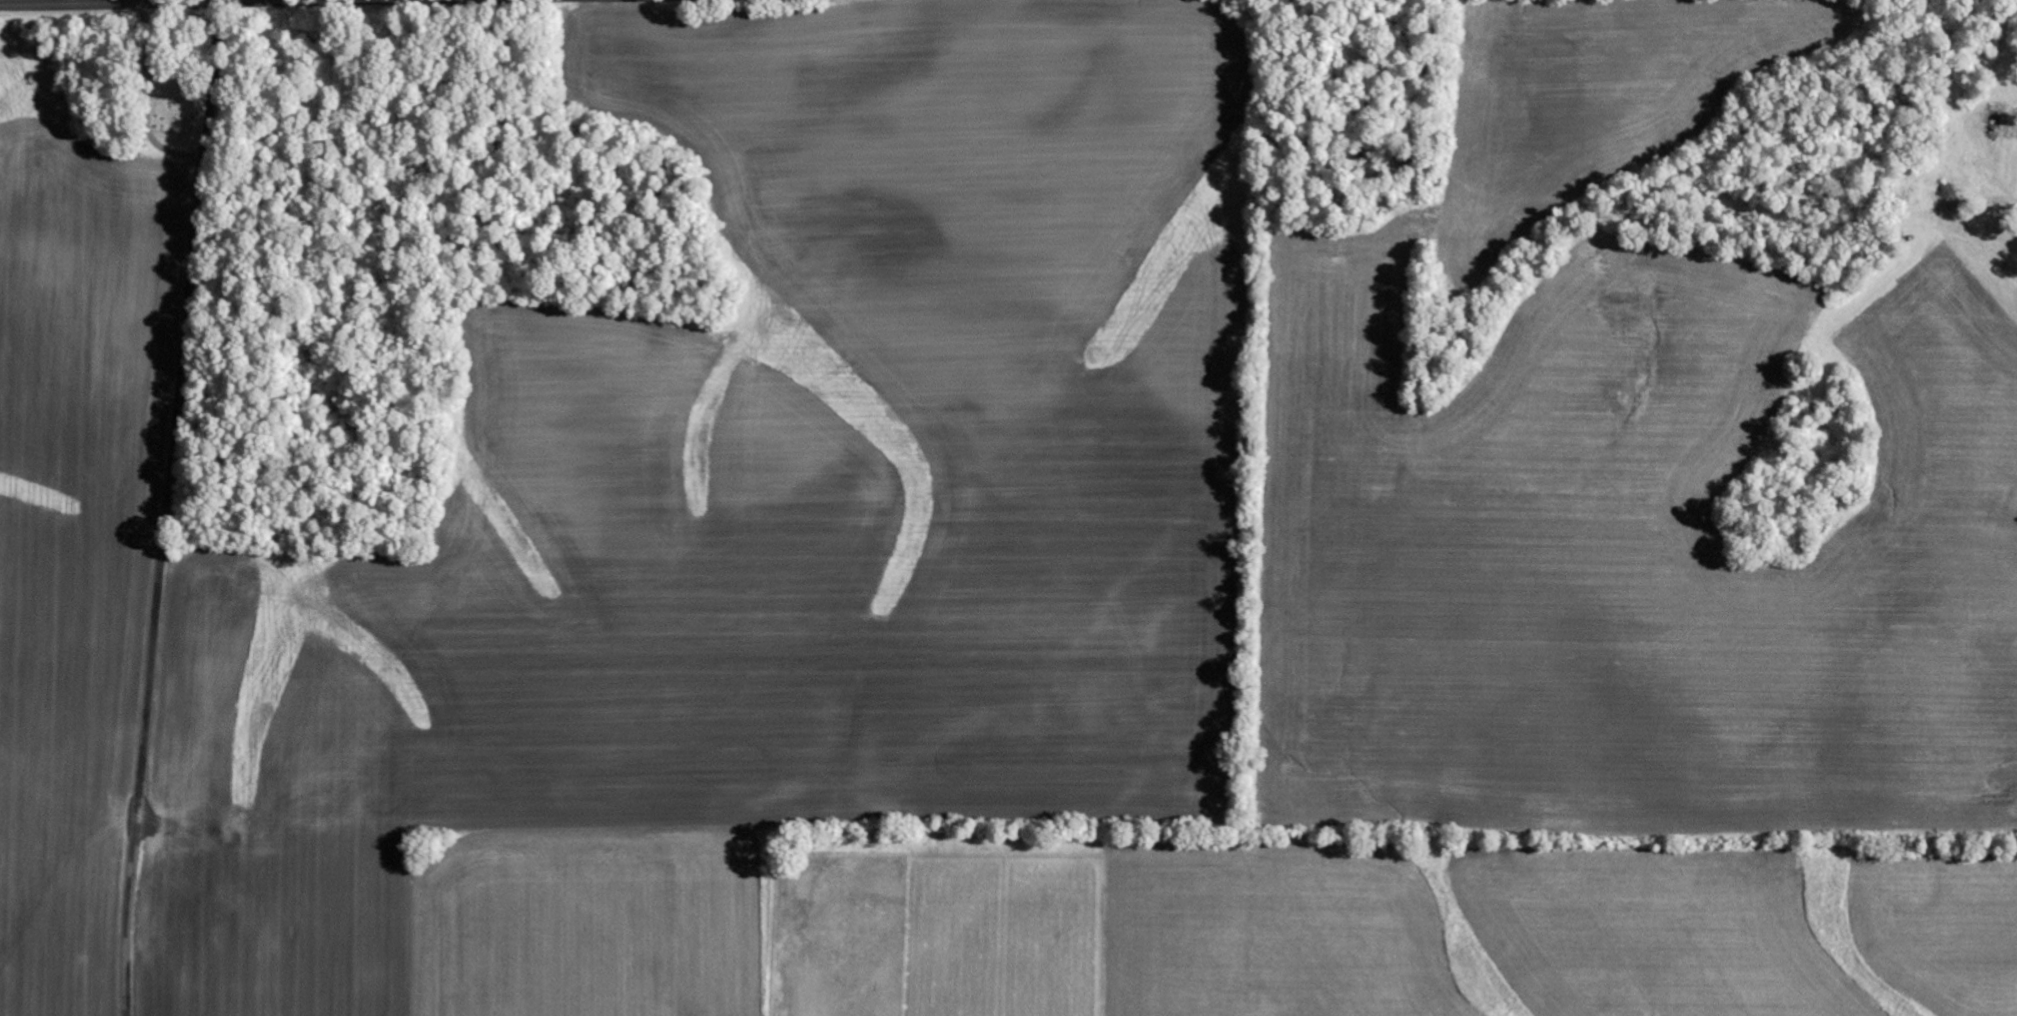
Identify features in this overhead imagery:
road: (140, 3)
park: (174, 100)
road: (165, 507)

